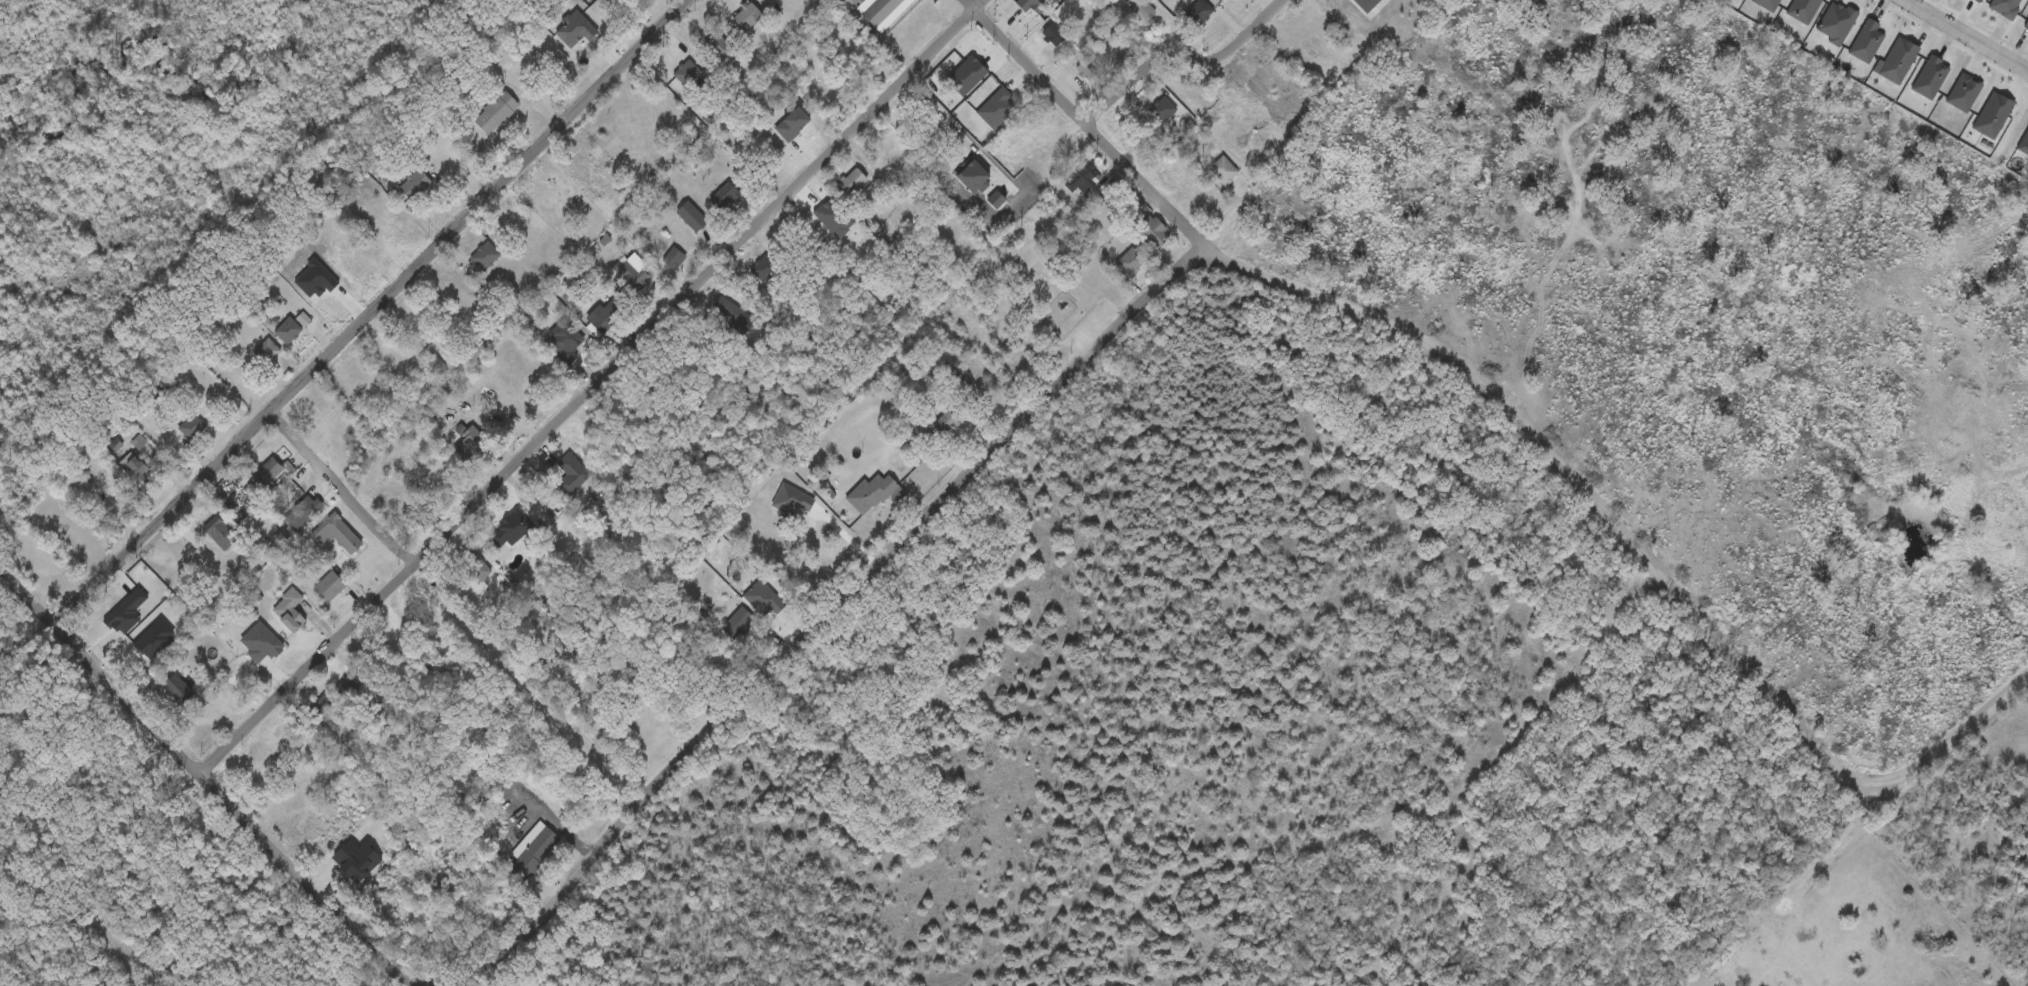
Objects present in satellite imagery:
building: (852, 2)
building: (1143, 11)
building: (882, 12)
building: (1200, 12)
building: (746, 18)
building: (2026, 26)
building: (1054, 35)
road: (1964, 37)
road: (1181, 54)
building: (1088, 70)
building: (688, 73)
building: (1163, 111)
building: (495, 113)
building: (887, 143)
building: (1224, 171)
building: (1083, 178)
building: (852, 184)
building: (414, 185)
building: (725, 197)
building: (691, 217)
building: (525, 232)
building: (1153, 233)
building: (485, 256)
building: (675, 258)
building: (1131, 263)
building: (766, 268)
building: (632, 271)
road: (372, 311)
building: (604, 316)
building: (303, 320)
building: (288, 331)
building: (267, 353)
road: (1439, 353)
road: (594, 386)
building: (946, 423)
building: (178, 429)
building: (134, 468)
building: (571, 476)
building: (271, 477)
building: (791, 502)
building: (305, 513)
building: (511, 530)
building: (337, 535)
building: (221, 536)
building: (474, 567)
building: (329, 588)
road: (467, 598)
building: (288, 612)
building: (733, 626)
road: (809, 631)
building: (271, 647)
building: (177, 689)
building: (320, 710)
road: (1952, 737)
building: (264, 771)
road: (205, 775)
building: (535, 855)

